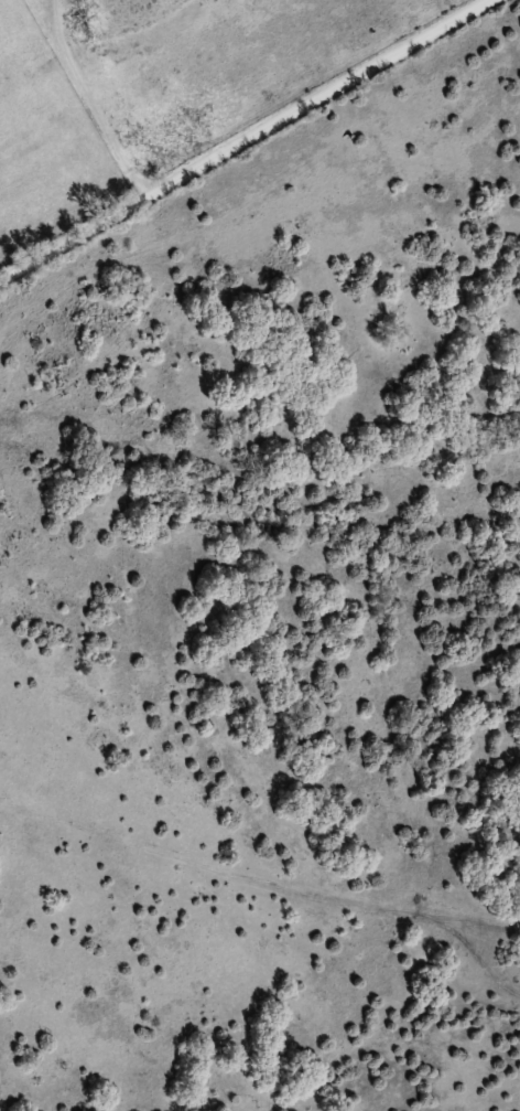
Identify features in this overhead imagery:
road: (249, 141)
road: (248, 911)

